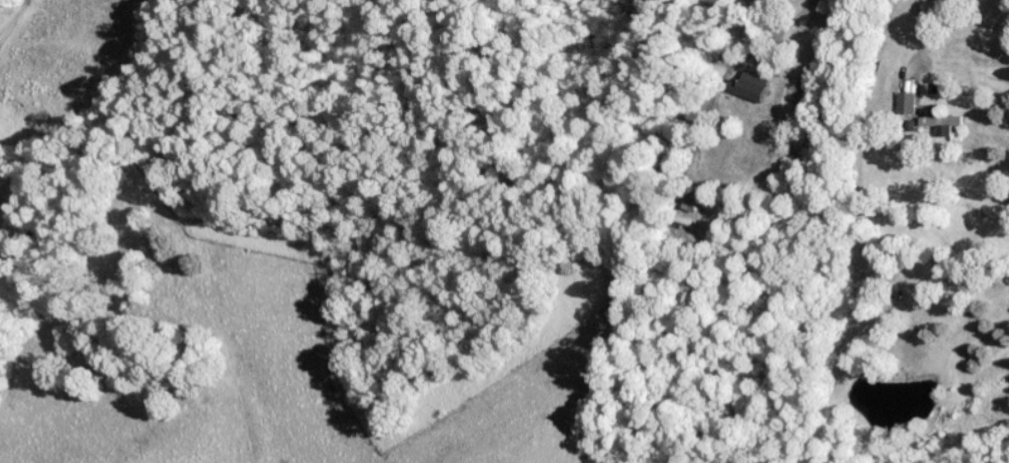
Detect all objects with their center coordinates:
building: (751, 89)
building: (907, 105)
building: (943, 126)
building: (693, 205)

